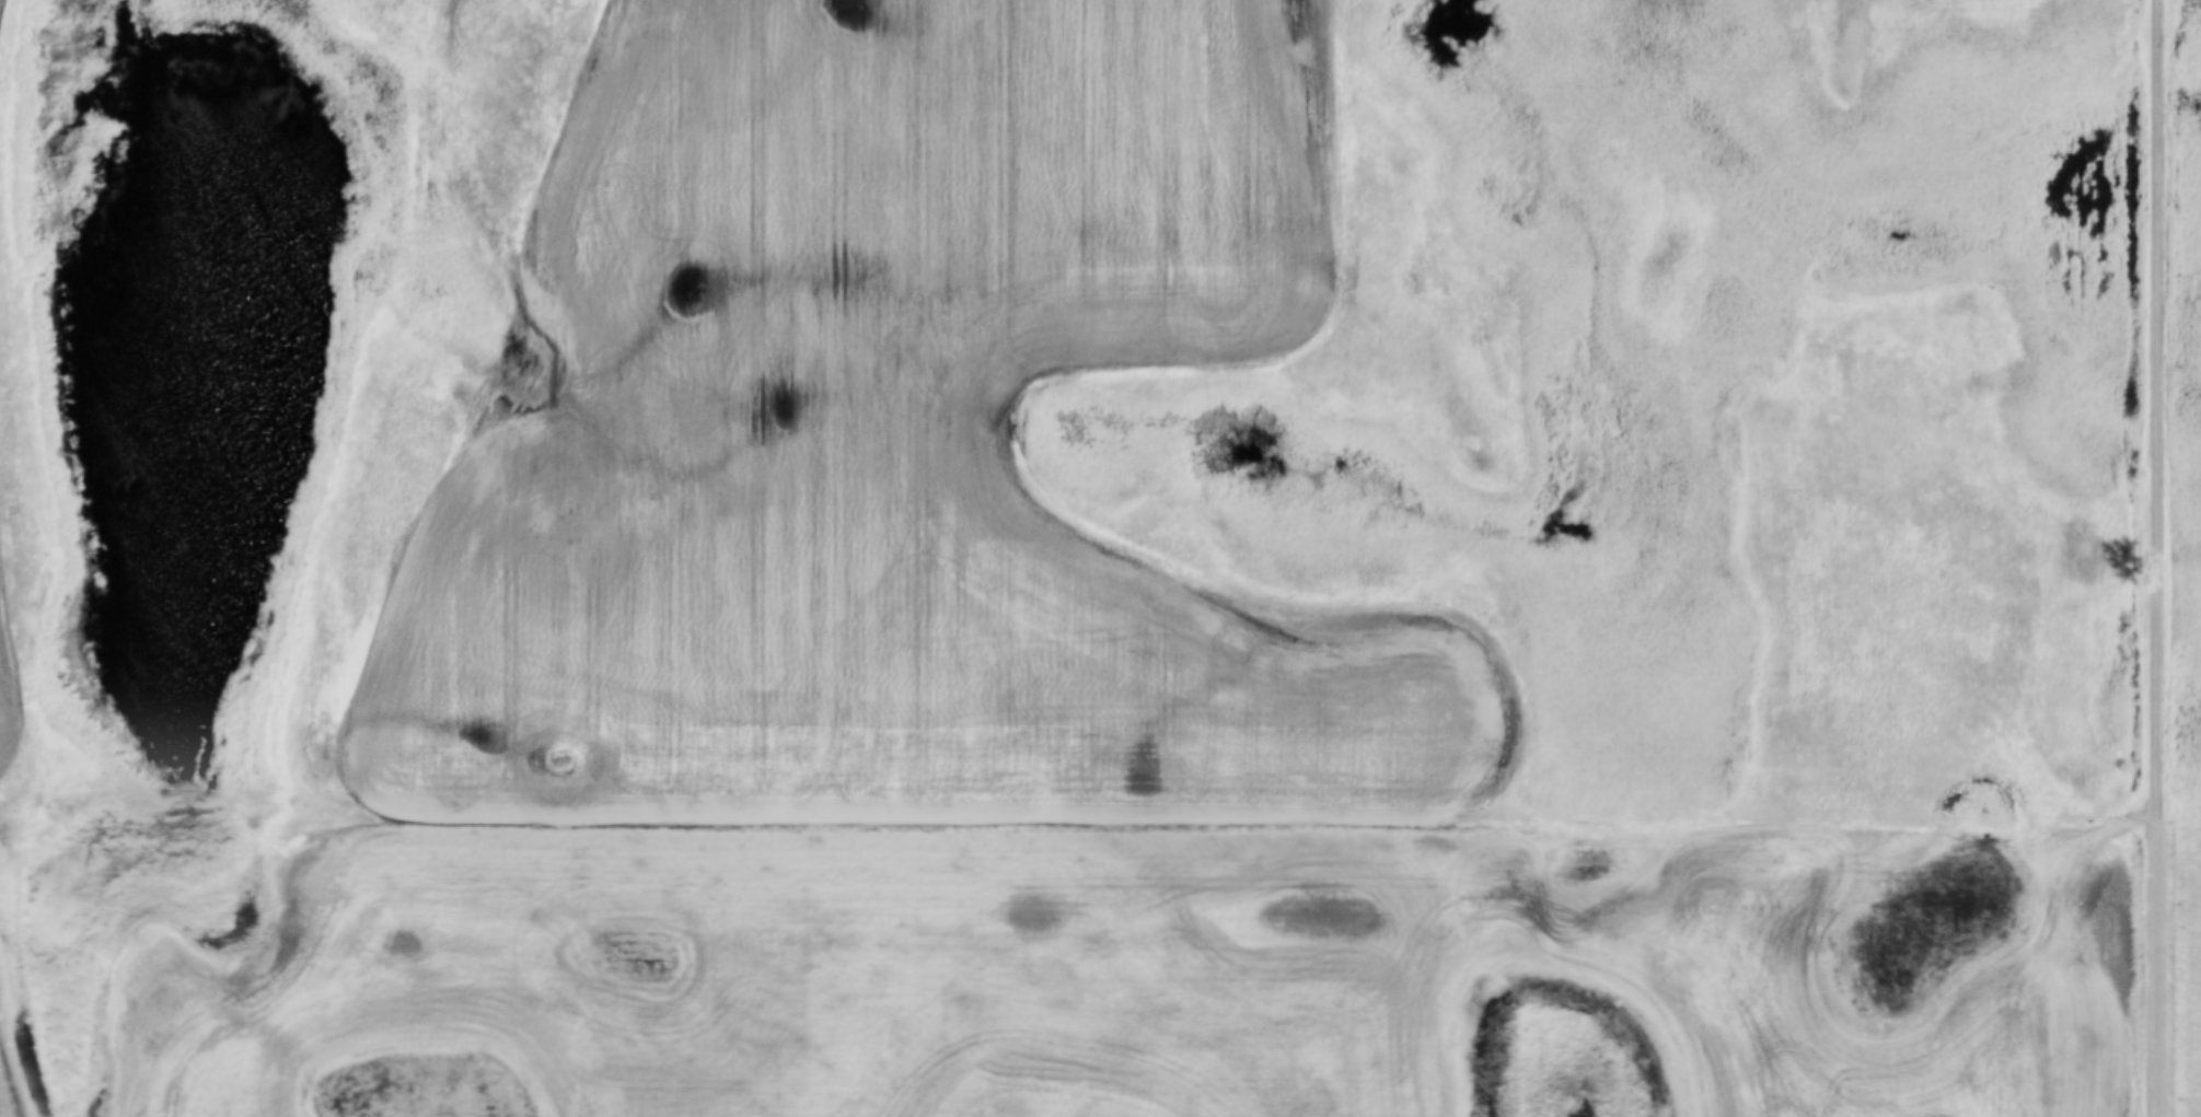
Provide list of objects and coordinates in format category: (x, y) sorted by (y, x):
road: (2158, 558)

